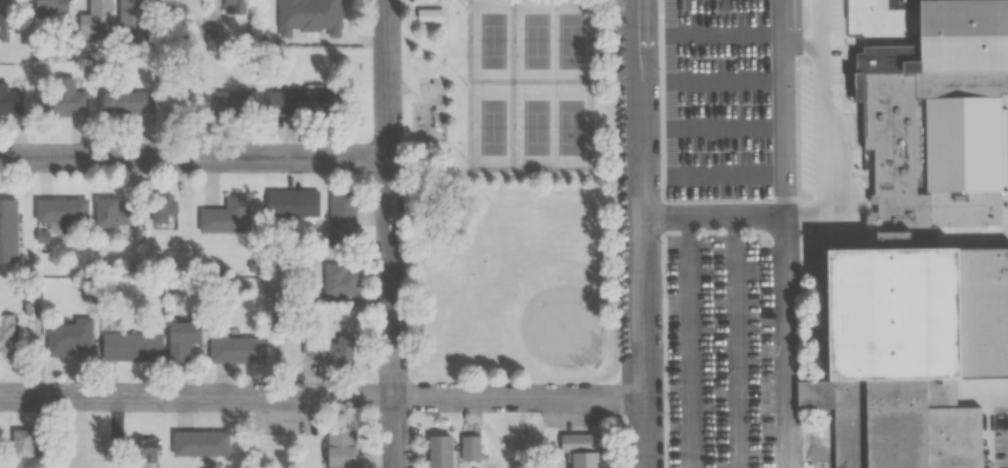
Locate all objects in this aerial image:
building: (235, 6)
building: (311, 7)
building: (51, 8)
building: (131, 13)
building: (431, 14)
building: (96, 22)
road: (791, 33)
building: (960, 35)
park: (494, 41)
park: (555, 41)
street lamp: (855, 47)
street lamp: (729, 55)
street lamp: (662, 67)
road: (740, 77)
building: (68, 97)
building: (10, 101)
building: (128, 102)
building: (235, 102)
building: (298, 102)
road: (740, 123)
building: (886, 124)
park: (493, 126)
park: (555, 127)
building: (963, 143)
street lamp: (662, 152)
road: (196, 157)
road: (741, 168)
park: (513, 192)
building: (294, 203)
road: (845, 204)
building: (163, 207)
building: (117, 213)
building: (62, 214)
building: (226, 216)
building: (343, 217)
building: (8, 230)
road: (392, 233)
road: (643, 233)
street lamp: (663, 238)
street lamp: (763, 240)
building: (339, 281)
park: (538, 296)
street lamp: (664, 323)
street lamp: (760, 329)
building: (6, 333)
building: (70, 337)
building: (181, 339)
road: (787, 340)
road: (736, 341)
road: (689, 342)
building: (131, 347)
building: (908, 348)
building: (330, 349)
parking lot: (721, 351)
building: (230, 353)
road: (322, 398)
street lamp: (666, 410)
street lamp: (762, 413)
building: (200, 442)
building: (471, 447)
building: (340, 448)
building: (145, 449)
building: (580, 449)
building: (27, 450)
building: (439, 451)

